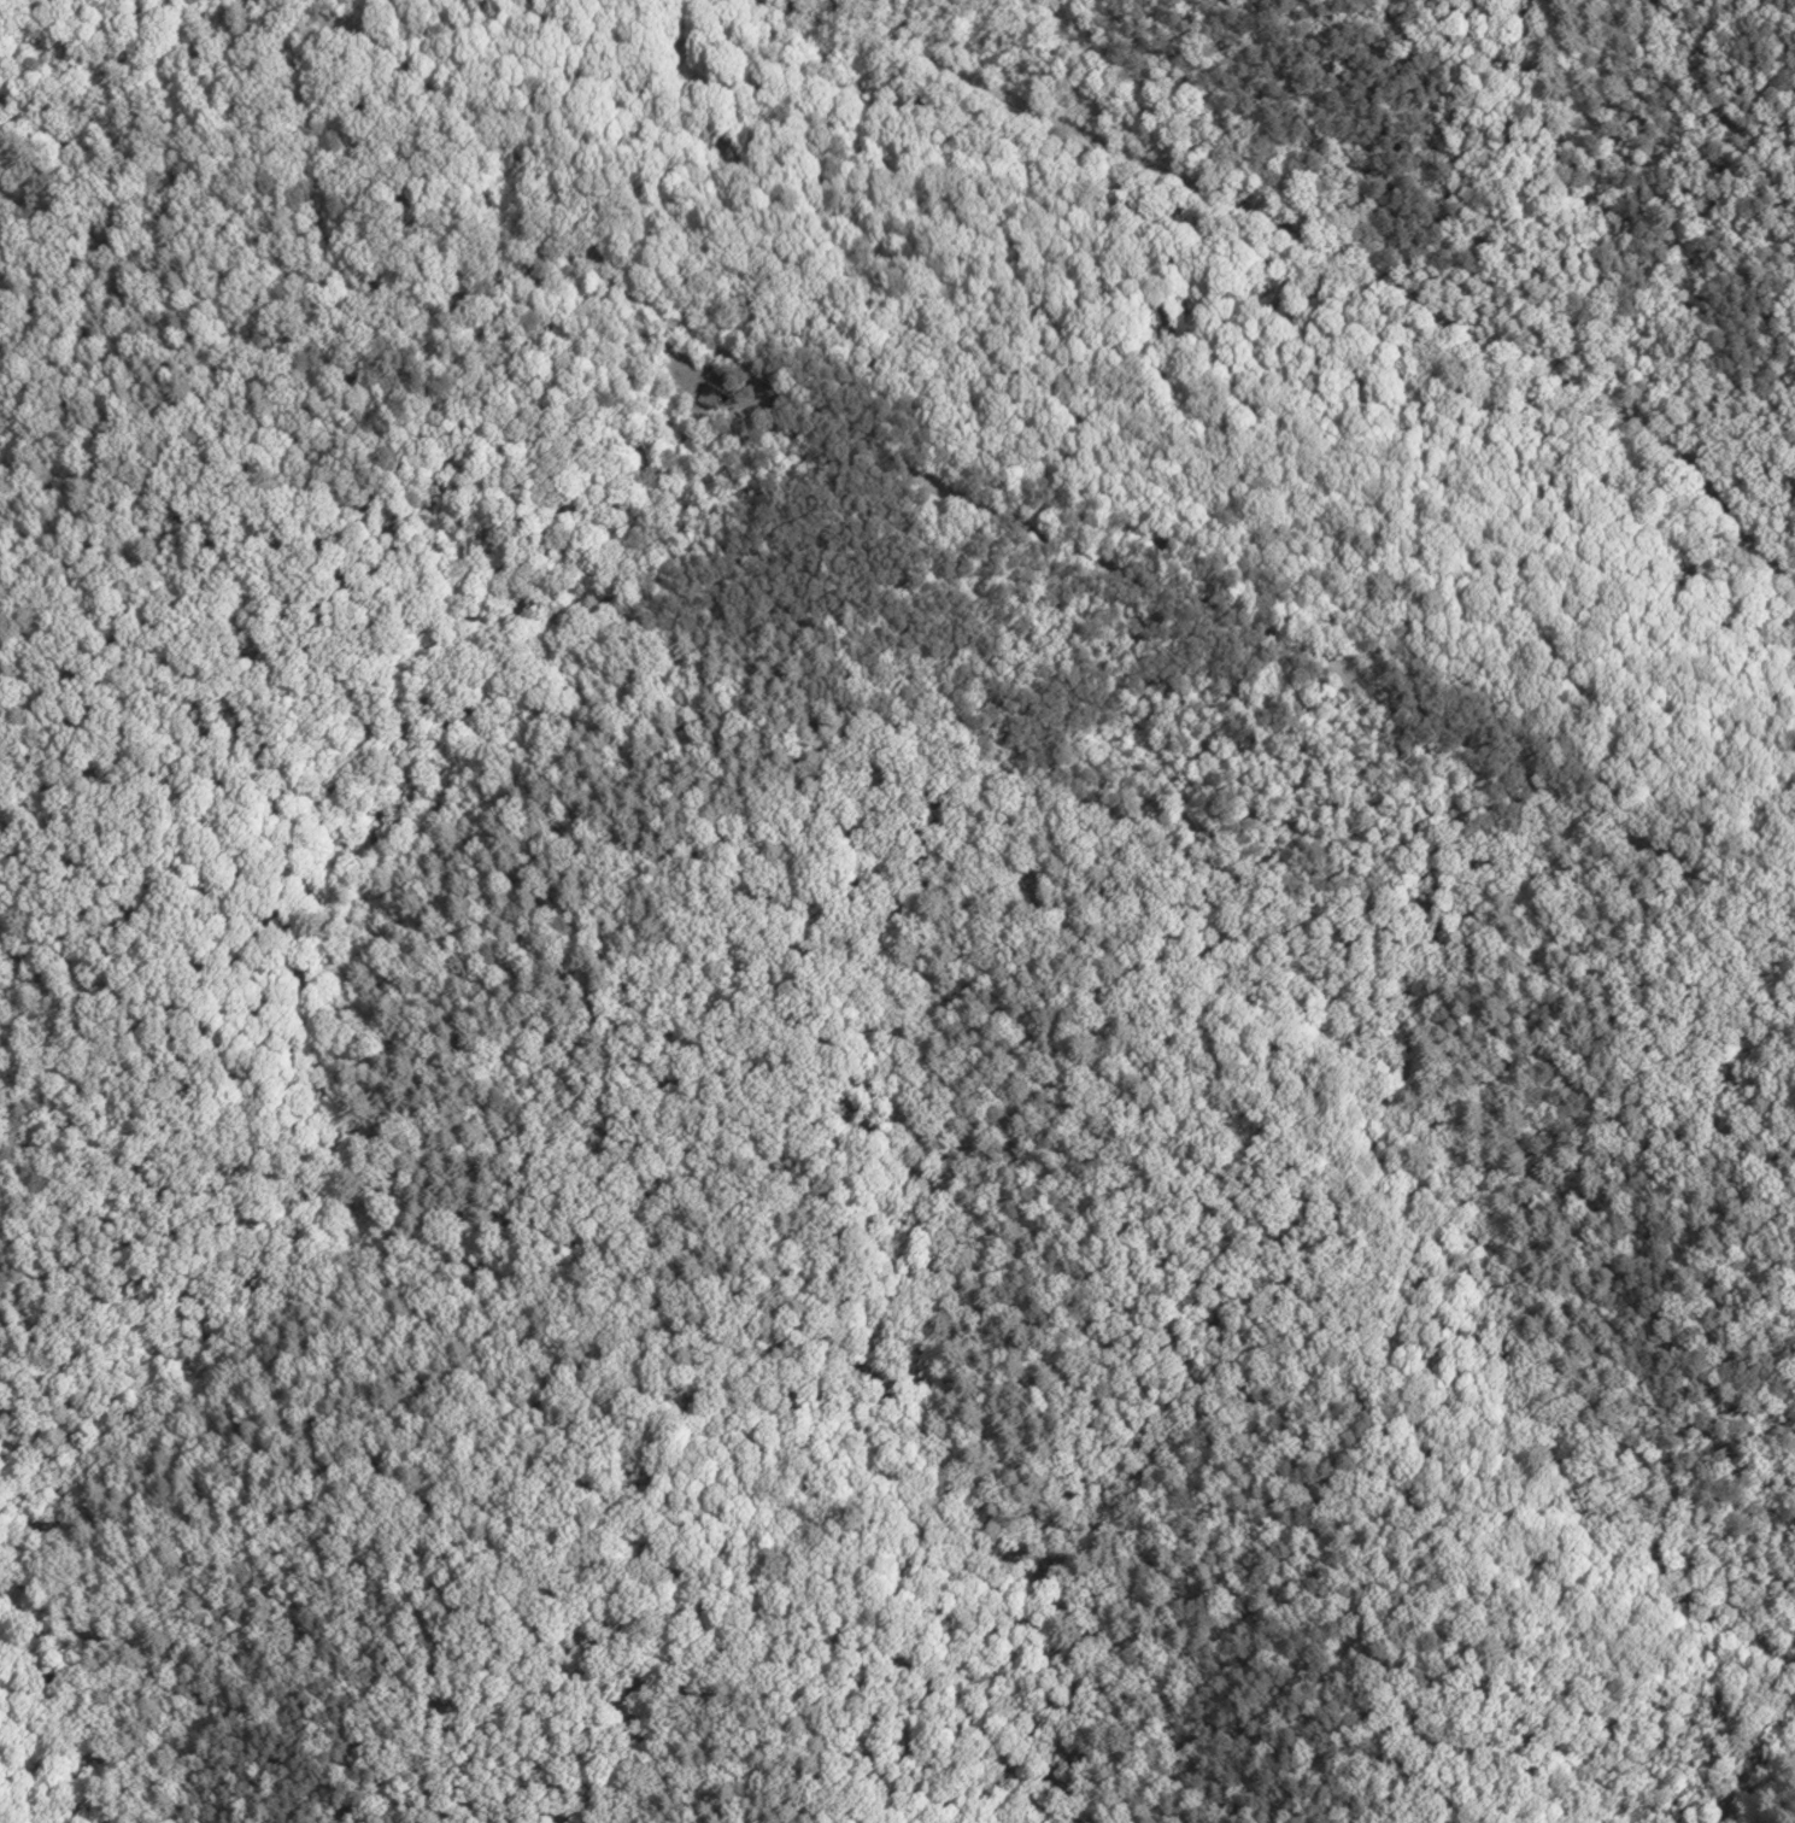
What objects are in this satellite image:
road: (1334, 263)
road: (1005, 522)

